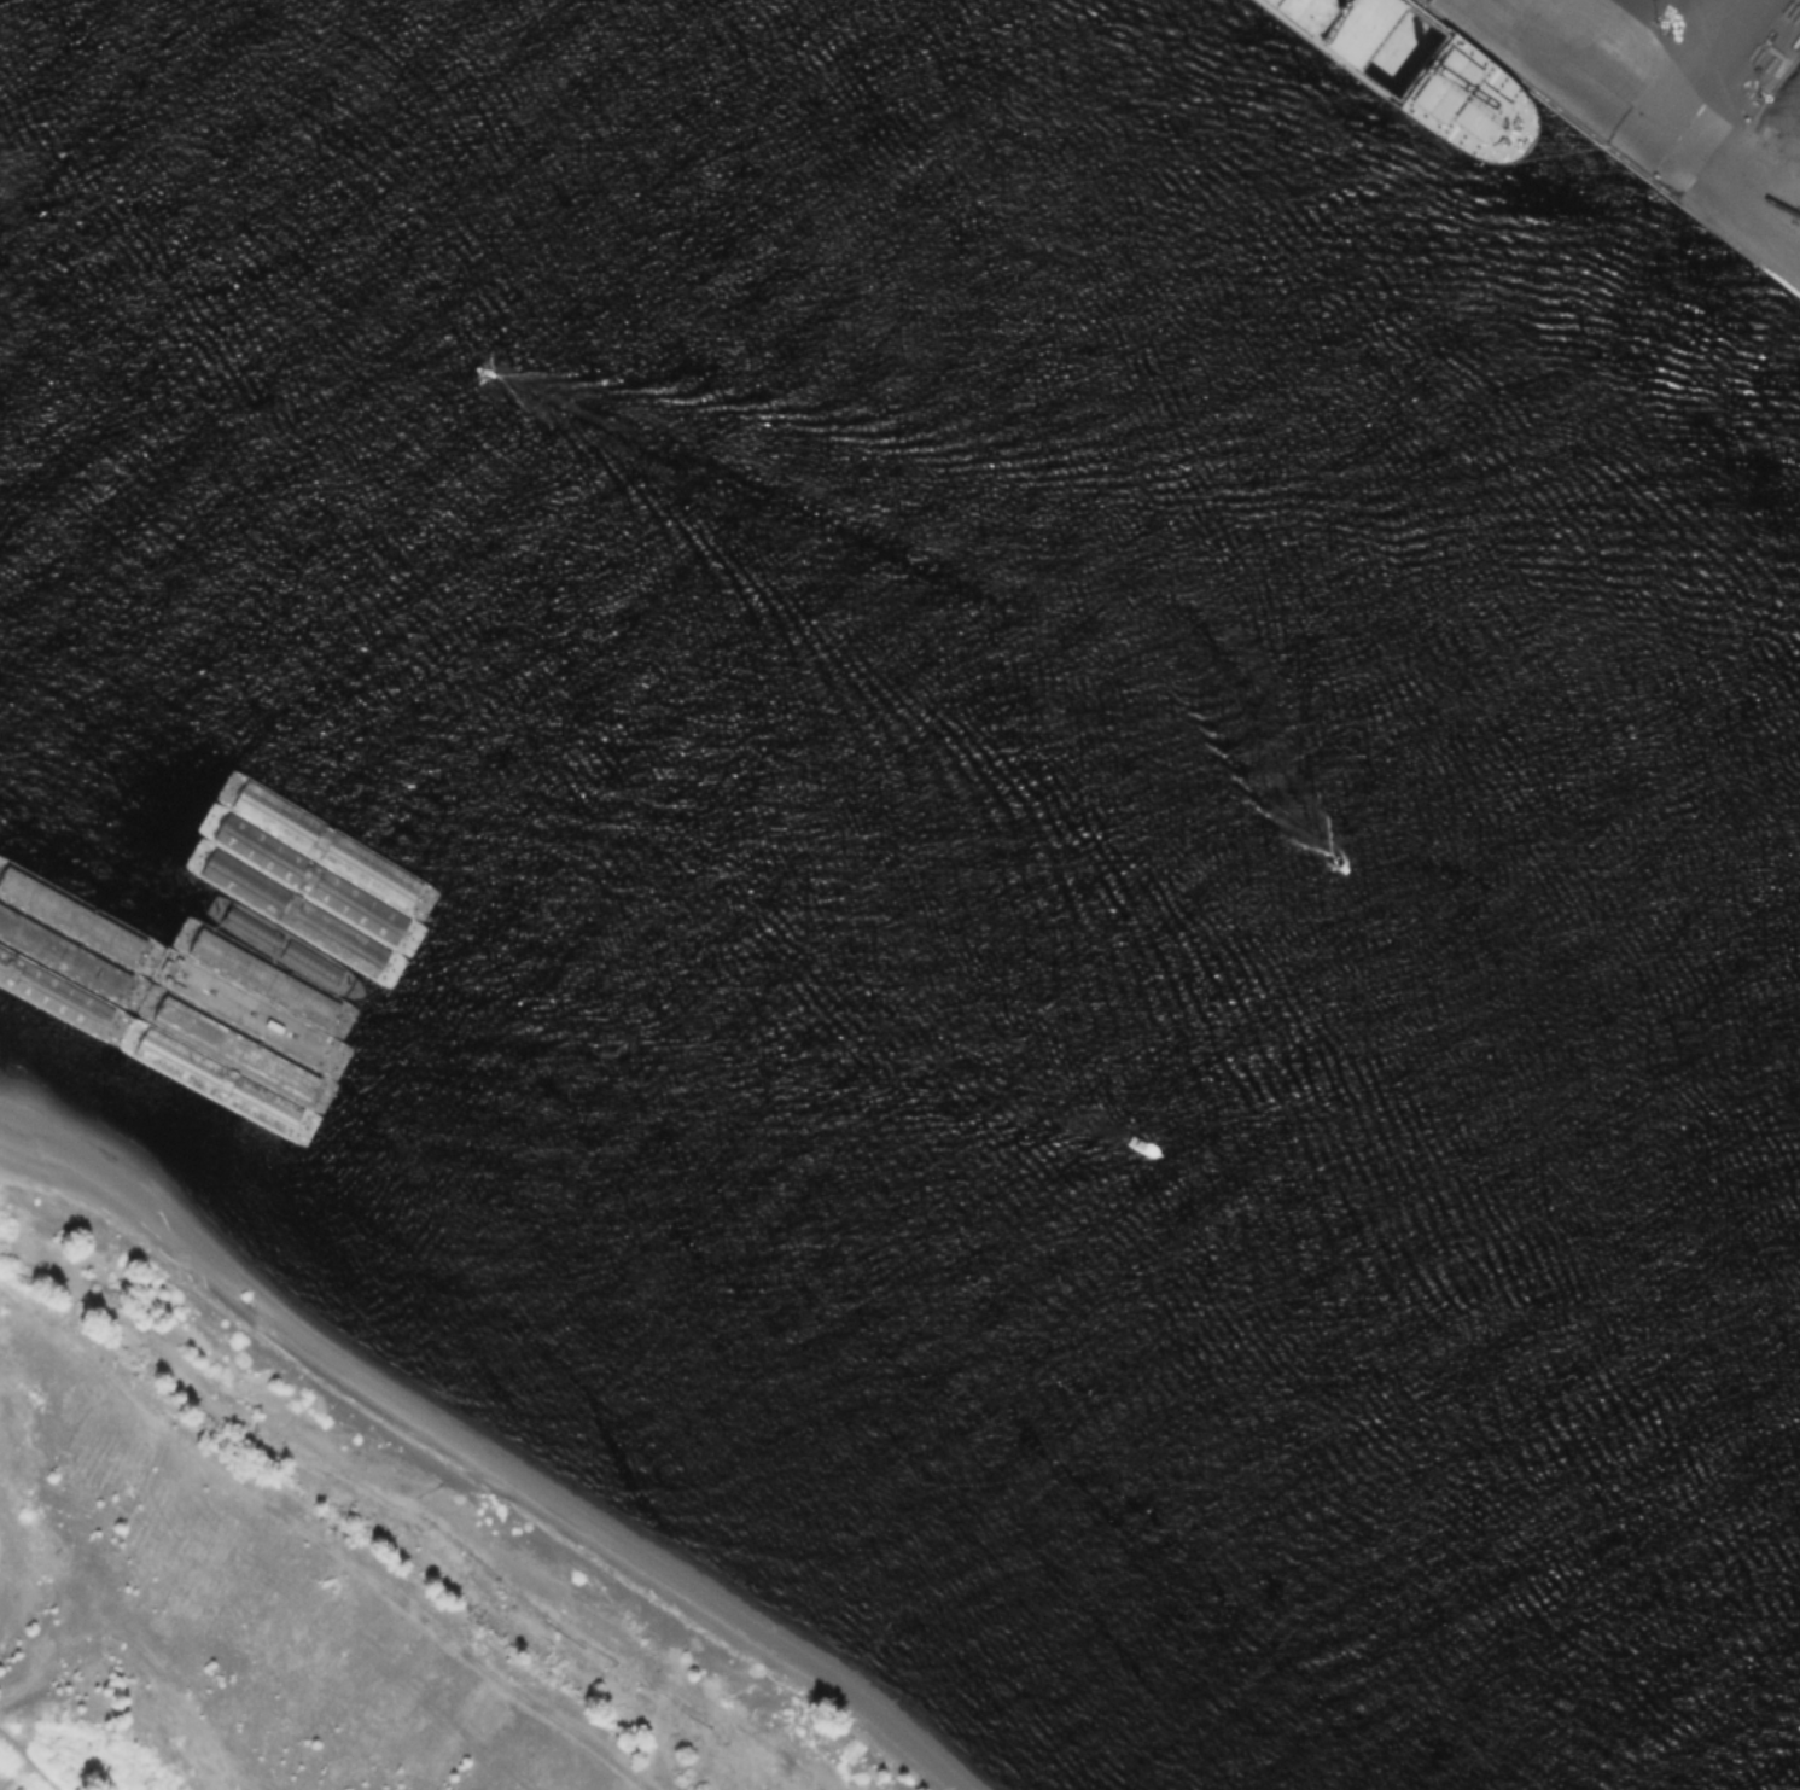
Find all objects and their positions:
pier: (1549, 64)
railway: (1715, 118)
pier: (1718, 191)
river: (899, 845)
road: (30, 1762)

